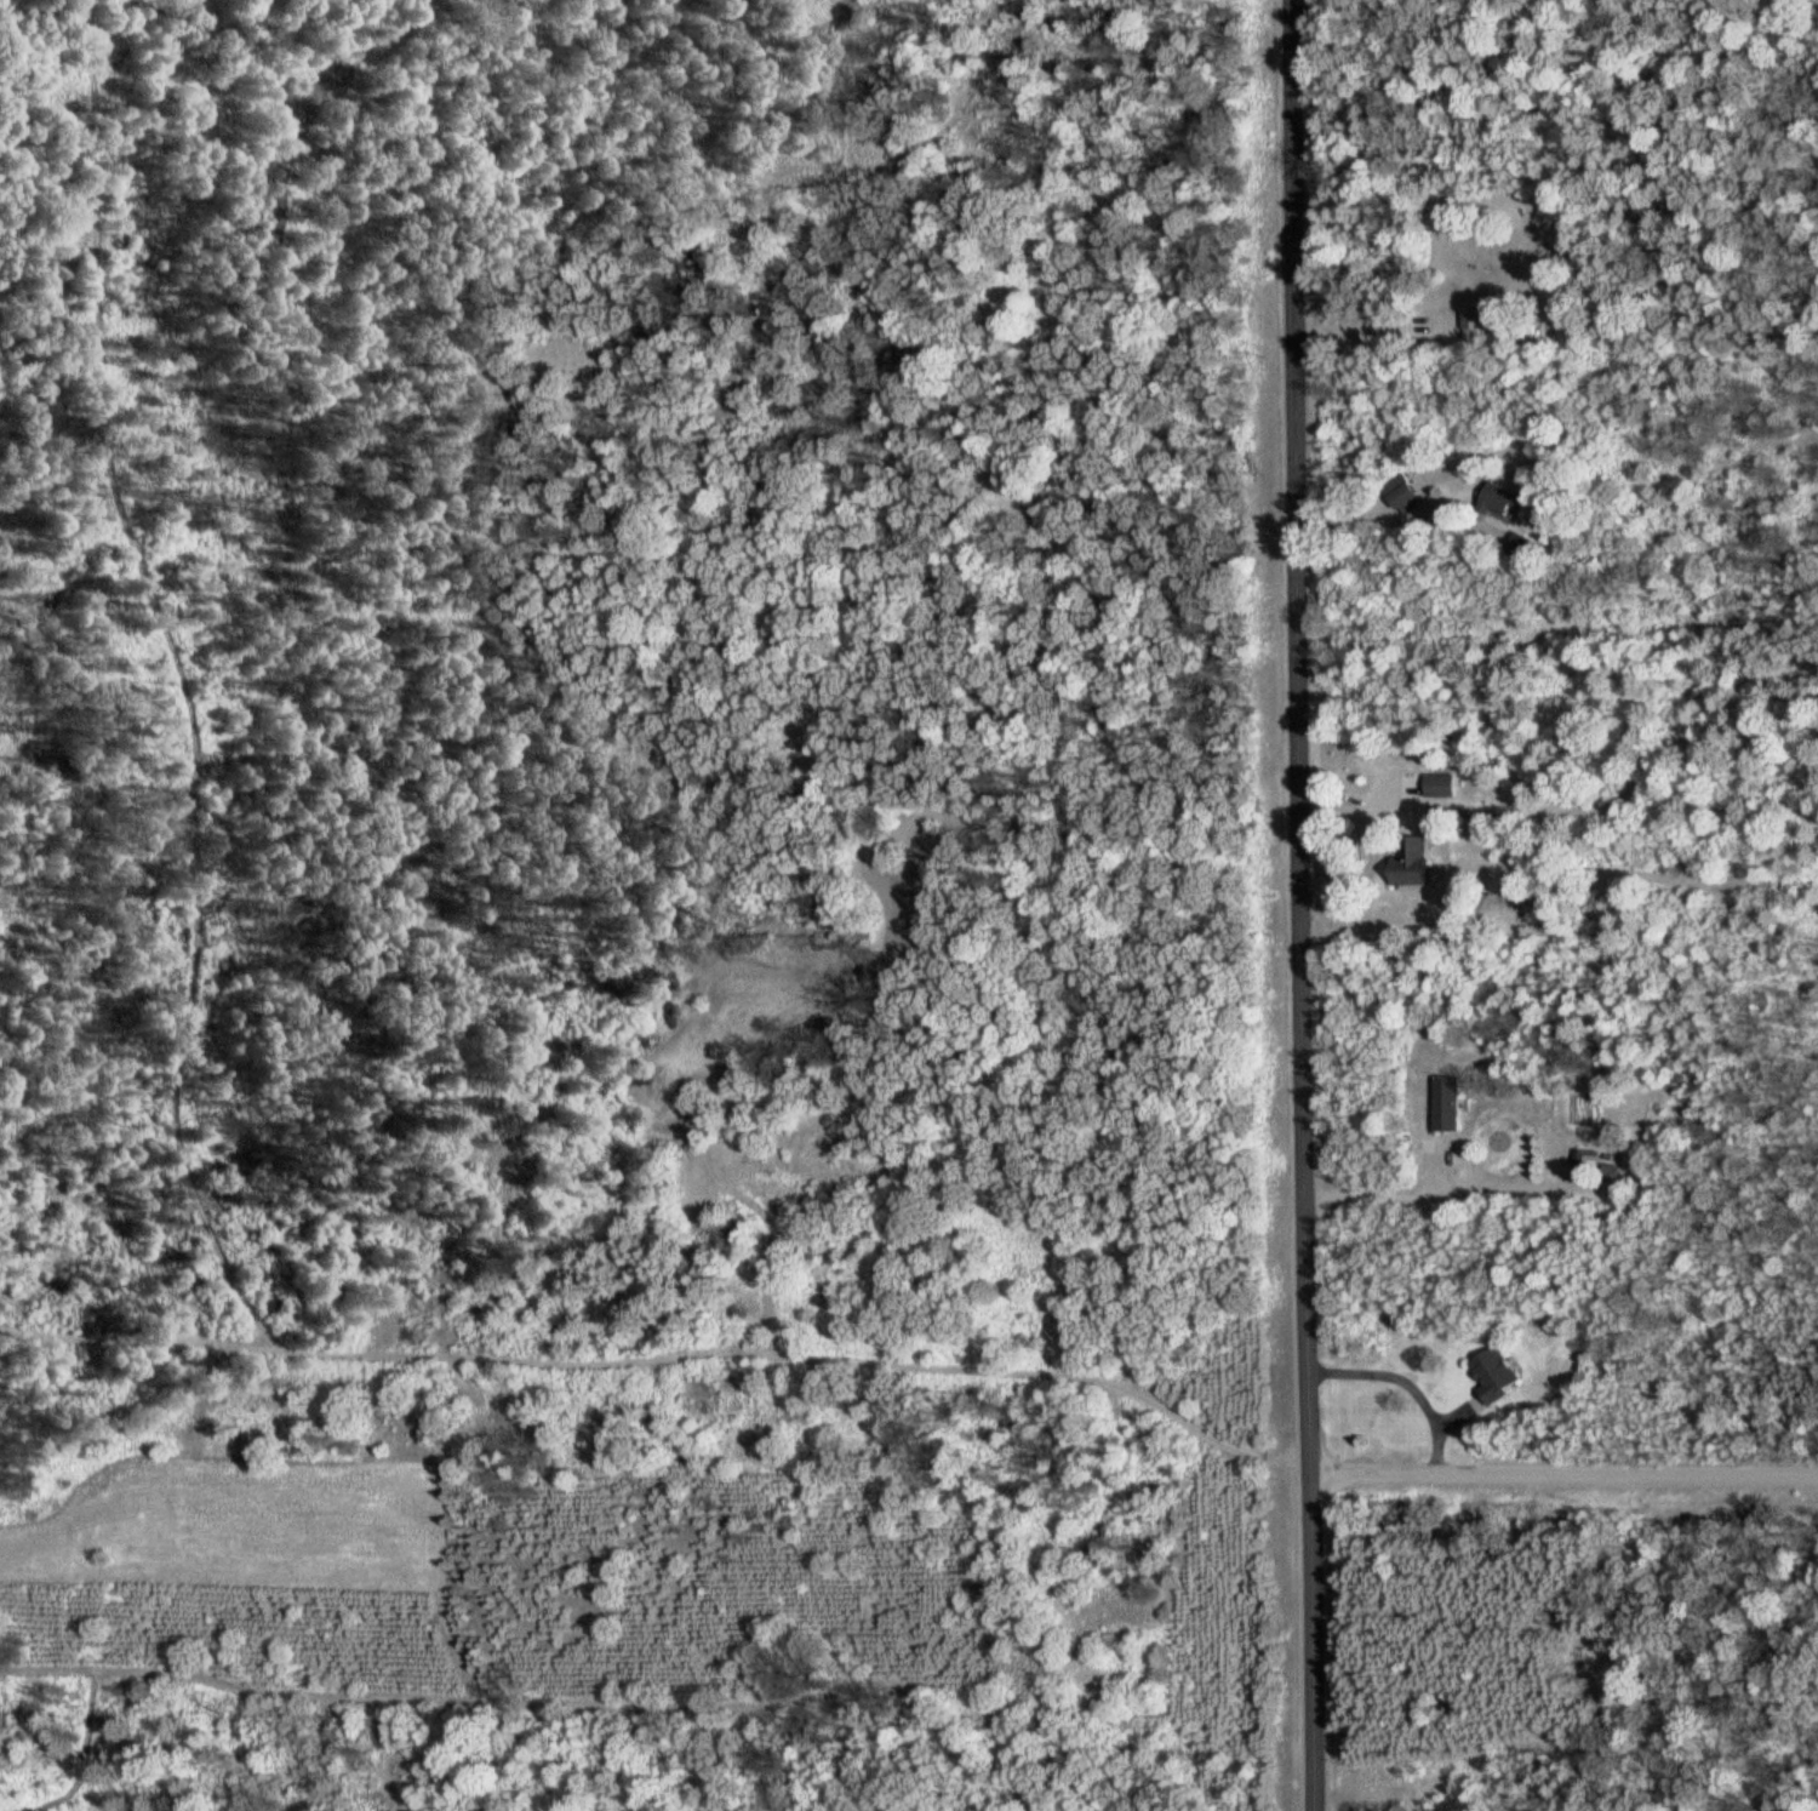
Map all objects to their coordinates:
building: (1476, 319)
building: (1507, 499)
road: (1384, 521)
building: (1531, 548)
building: (1440, 784)
building: (1417, 861)
road: (1302, 904)
building: (1453, 1103)
building: (1589, 1159)
road: (1442, 1194)
building: (1499, 1372)
road: (1565, 1478)

